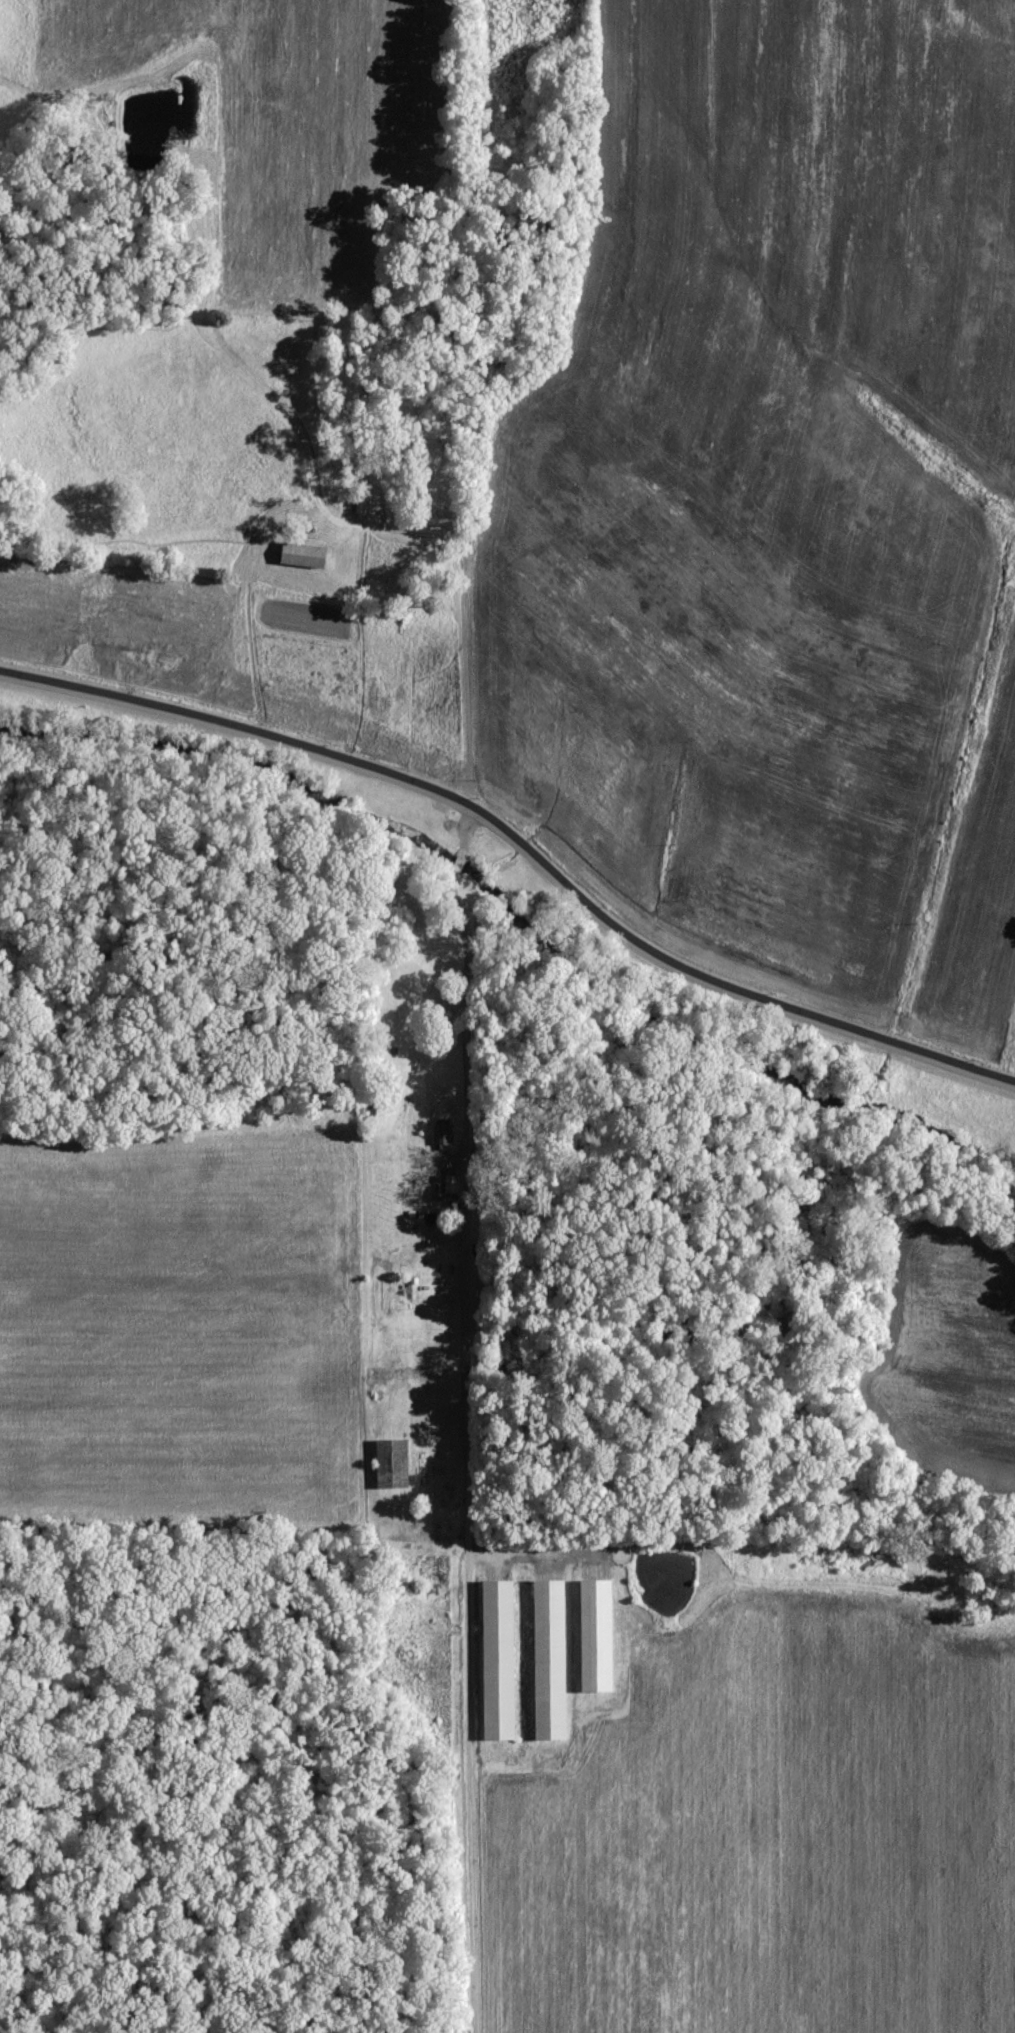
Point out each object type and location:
building: (304, 554)
road: (521, 845)
road: (468, 1169)
building: (451, 1184)
building: (597, 1633)
building: (551, 1656)
building: (499, 1657)

